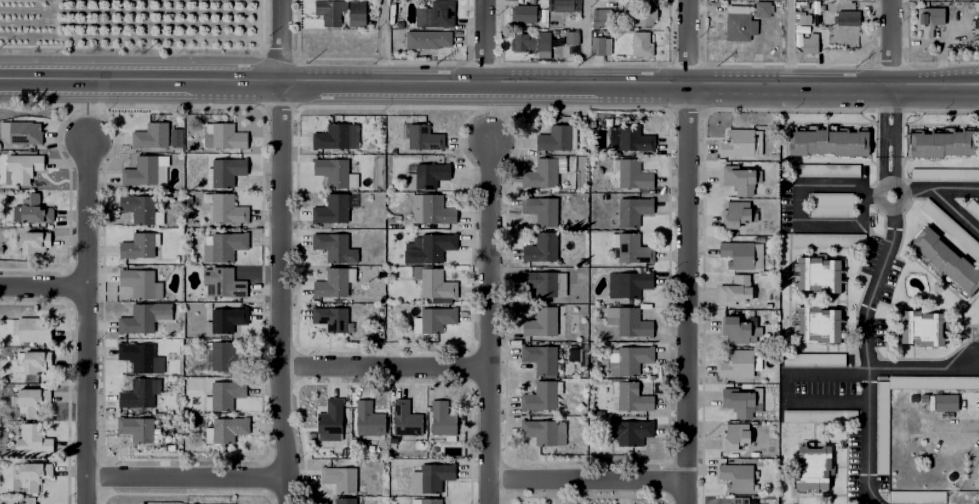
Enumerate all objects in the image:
building: (960, 0)
building: (564, 5)
building: (761, 9)
building: (330, 10)
building: (525, 12)
building: (357, 13)
building: (438, 14)
building: (601, 15)
building: (646, 15)
building: (848, 17)
building: (930, 18)
building: (738, 21)
building: (572, 37)
building: (428, 38)
road: (282, 41)
building: (530, 41)
road: (382, 42)
road: (488, 43)
road: (584, 43)
building: (642, 43)
building: (811, 43)
road: (687, 44)
road: (788, 44)
road: (890, 44)
building: (601, 46)
road: (140, 81)
road: (385, 84)
road: (587, 87)
road: (833, 88)
road: (895, 122)
building: (24, 132)
building: (151, 135)
building: (178, 135)
building: (335, 135)
road: (881, 135)
building: (228, 136)
building: (424, 137)
building: (558, 137)
building: (630, 138)
building: (742, 142)
building: (829, 143)
building: (943, 144)
building: (22, 168)
building: (825, 169)
road: (894, 169)
building: (145, 170)
building: (227, 170)
building: (332, 170)
building: (547, 173)
building: (632, 173)
building: (945, 173)
building: (430, 174)
building: (741, 179)
road: (954, 188)
road: (917, 189)
building: (831, 204)
road: (879, 205)
building: (138, 208)
building: (334, 208)
road: (797, 208)
building: (973, 208)
building: (227, 209)
building: (32, 210)
building: (437, 210)
building: (541, 210)
building: (633, 210)
road: (954, 210)
building: (737, 215)
building: (950, 227)
building: (829, 240)
building: (34, 242)
building: (225, 246)
building: (337, 246)
building: (434, 246)
building: (140, 247)
building: (541, 247)
building: (634, 249)
building: (740, 254)
building: (948, 260)
building: (817, 273)
building: (334, 282)
building: (545, 282)
building: (141, 283)
building: (227, 283)
building: (628, 283)
building: (435, 284)
road: (44, 286)
building: (735, 290)
road: (281, 293)
road: (685, 295)
building: (144, 318)
building: (331, 318)
building: (437, 318)
building: (224, 320)
road: (87, 321)
road: (490, 321)
building: (629, 321)
building: (541, 322)
building: (816, 324)
building: (35, 328)
building: (922, 328)
building: (735, 329)
building: (581, 354)
building: (138, 356)
building: (222, 357)
building: (541, 357)
road: (865, 357)
building: (814, 358)
building: (631, 359)
building: (34, 362)
building: (740, 363)
road: (385, 365)
road: (922, 368)
road: (786, 385)
building: (138, 394)
building: (226, 394)
building: (543, 395)
building: (632, 396)
building: (32, 400)
building: (742, 400)
building: (940, 401)
building: (821, 415)
building: (330, 417)
building: (368, 418)
building: (406, 419)
building: (442, 419)
building: (229, 428)
building: (138, 430)
building: (882, 430)
building: (545, 431)
building: (634, 431)
building: (735, 436)
building: (33, 442)
building: (814, 466)
building: (33, 474)
building: (435, 476)
building: (341, 477)
building: (738, 477)
road: (187, 479)
road: (587, 479)
building: (414, 480)
building: (918, 496)
building: (346, 500)
building: (740, 500)
building: (29, 501)
building: (426, 501)

